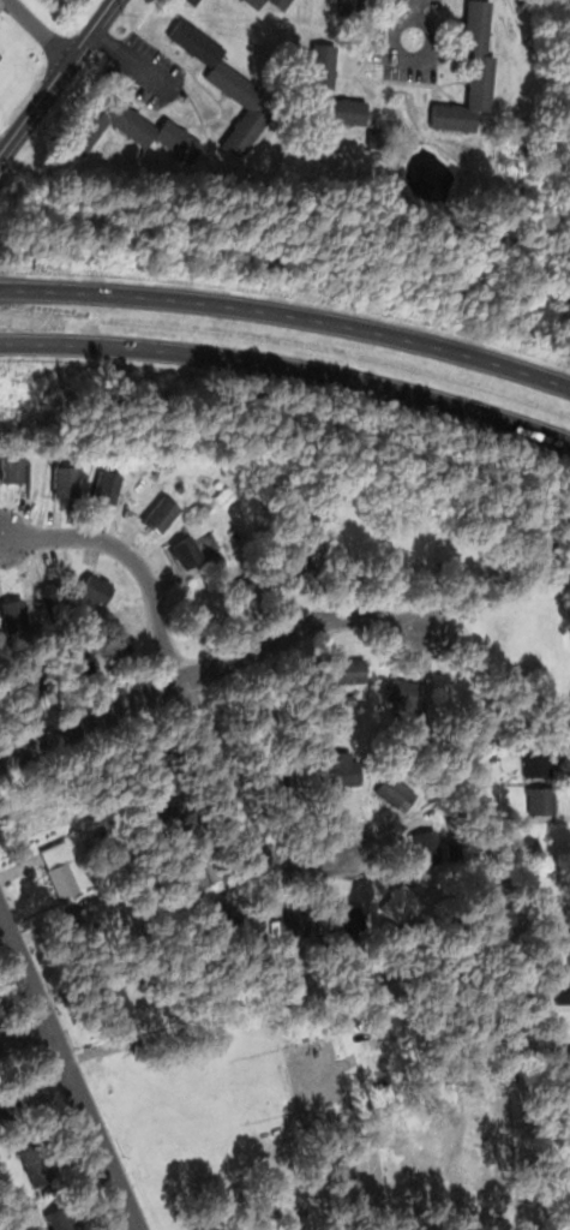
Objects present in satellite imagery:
building: (193, 1)
building: (256, 1)
building: (282, 2)
road: (414, 2)
building: (352, 5)
road: (40, 30)
building: (0, 55)
building: (323, 71)
building: (472, 71)
road: (56, 78)
building: (228, 84)
building: (134, 129)
road: (288, 312)
road: (289, 365)
building: (12, 466)
building: (65, 480)
building: (108, 488)
building: (181, 488)
building: (161, 513)
building: (186, 551)
road: (131, 557)
building: (248, 585)
building: (96, 589)
building: (56, 602)
building: (86, 611)
building: (13, 615)
building: (115, 639)
building: (71, 661)
road: (210, 665)
building: (343, 671)
building: (23, 679)
building: (404, 692)
building: (252, 720)
building: (341, 763)
building: (538, 763)
building: (158, 769)
building: (280, 789)
building: (394, 789)
building: (542, 801)
building: (450, 806)
road: (240, 810)
building: (180, 814)
building: (430, 847)
building: (202, 862)
building: (61, 880)
building: (401, 901)
building: (233, 903)
building: (294, 922)
building: (272, 925)
building: (84, 926)
building: (350, 926)
building: (559, 953)
building: (562, 989)
building: (116, 990)
building: (565, 1025)
road: (24, 1033)
building: (565, 1064)
road: (66, 1071)
building: (11, 1107)
building: (34, 1154)
building: (564, 1183)
building: (31, 1214)
building: (68, 1217)
building: (16, 1226)

